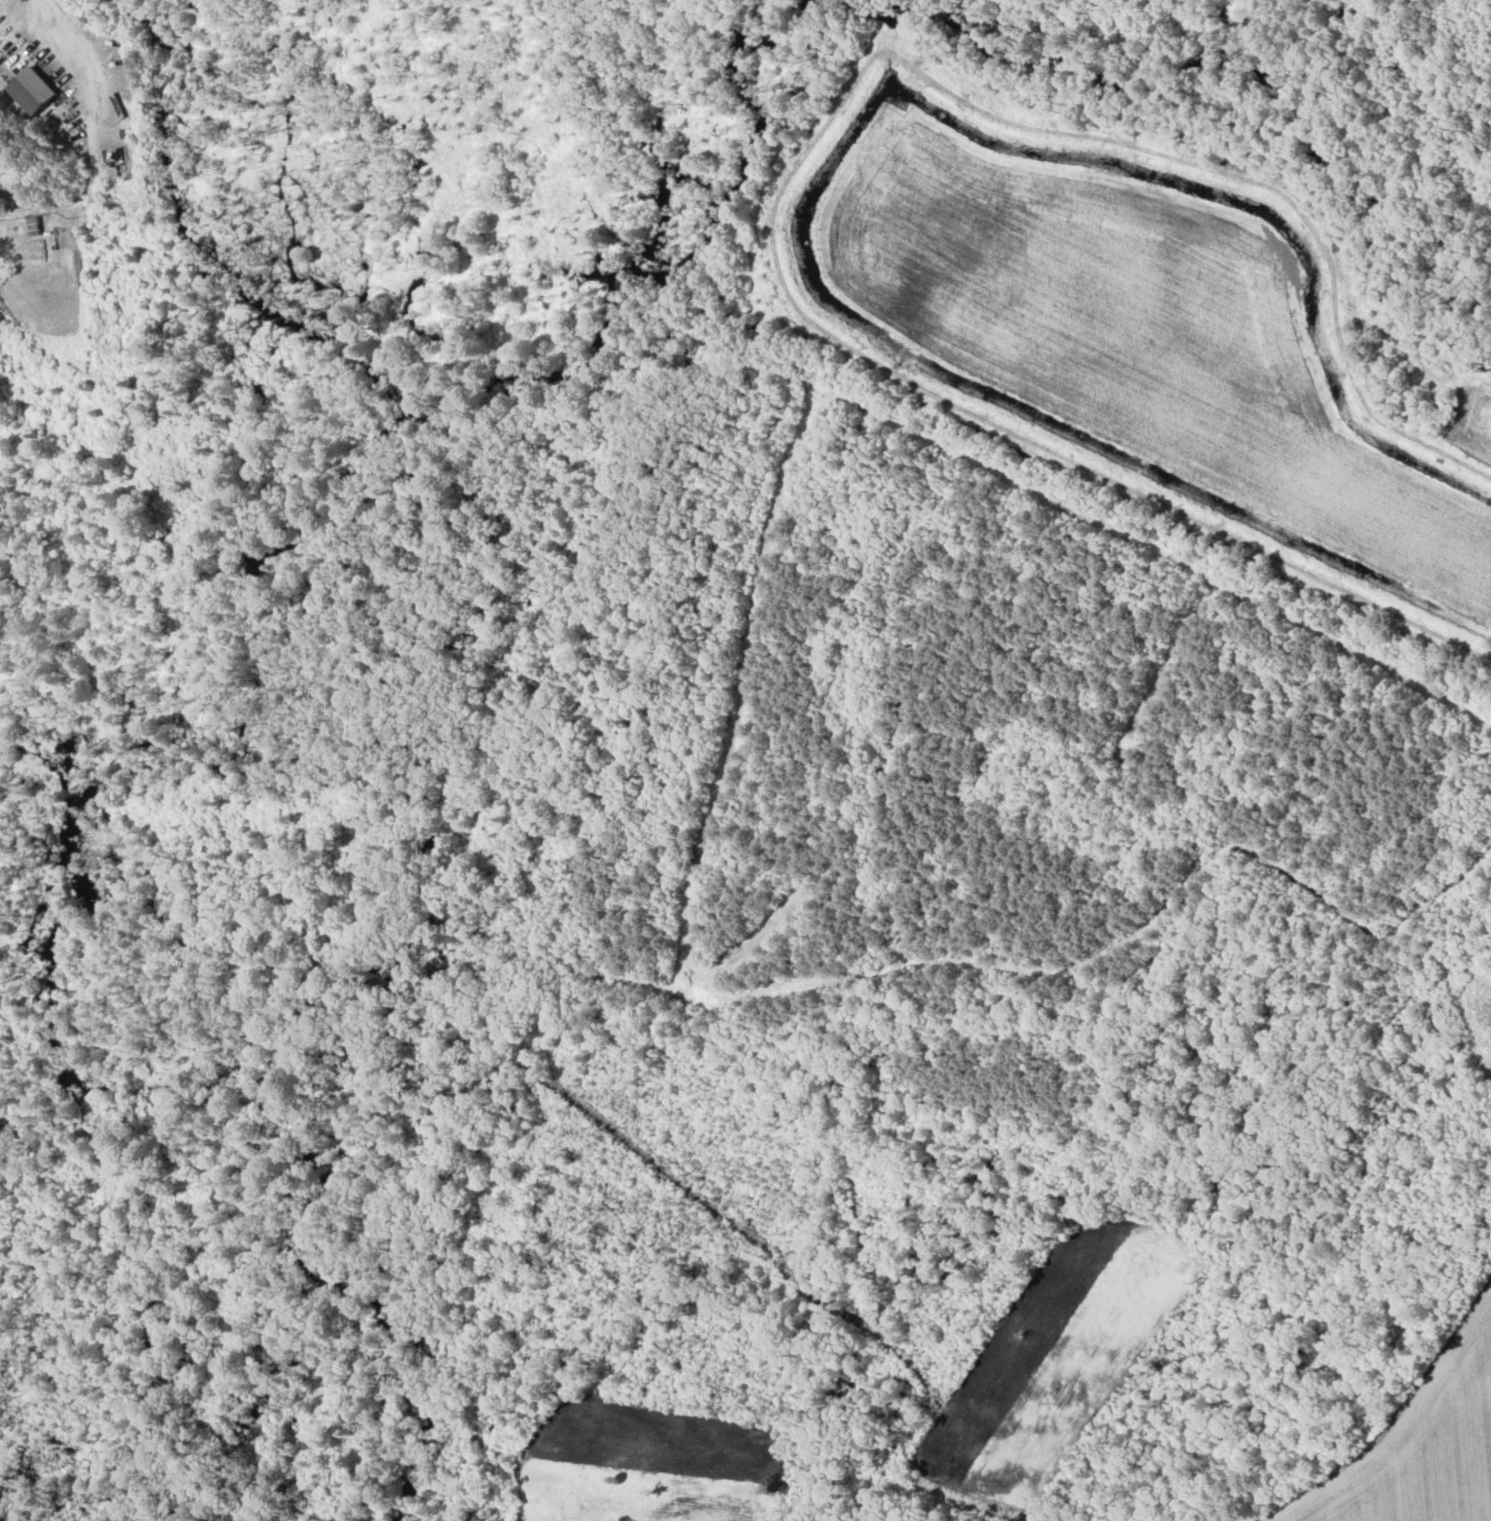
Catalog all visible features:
road: (17, 30)
building: (31, 91)
road: (92, 142)
wastewater plant: (117, 268)
wastewater plant: (53, 289)
wastewater plant: (127, 320)
wastewater plant: (58, 335)
wastewater plant: (66, 384)

